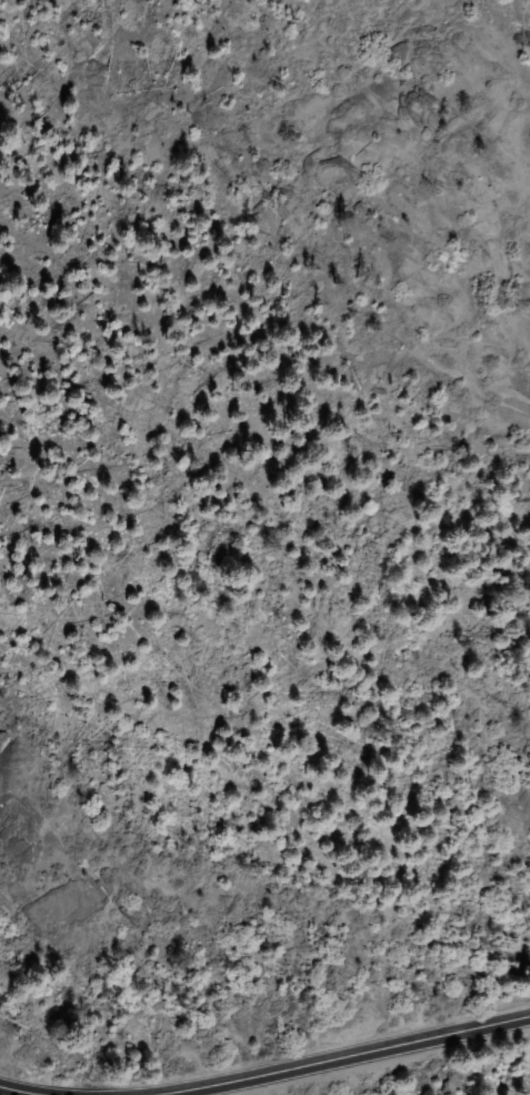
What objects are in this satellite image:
road: (341, 1057)
road: (24, 1089)

